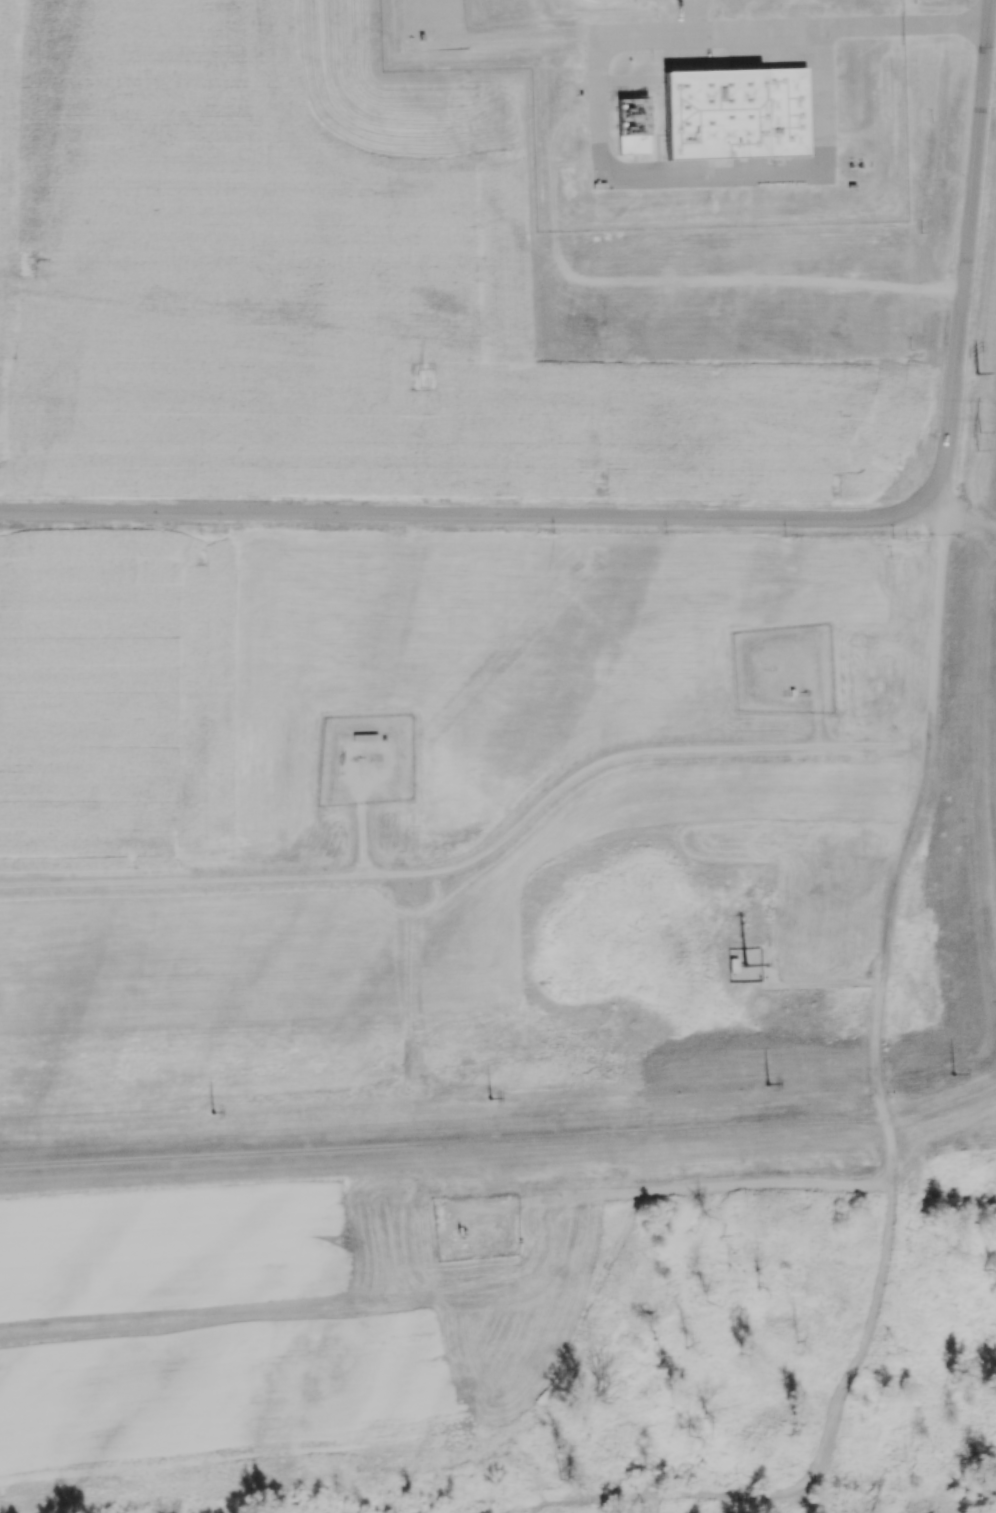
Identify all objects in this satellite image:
road: (945, 25)
road: (766, 29)
road: (967, 247)
crop: (404, 282)
power tower: (978, 375)
power tower: (422, 378)
power tower: (979, 441)
park: (978, 492)
road: (471, 514)
road: (881, 984)
power tower: (954, 1076)
power tower: (766, 1085)
power tower: (490, 1099)
road: (942, 1111)
power tower: (213, 1113)
road: (444, 1141)
road: (710, 1492)

